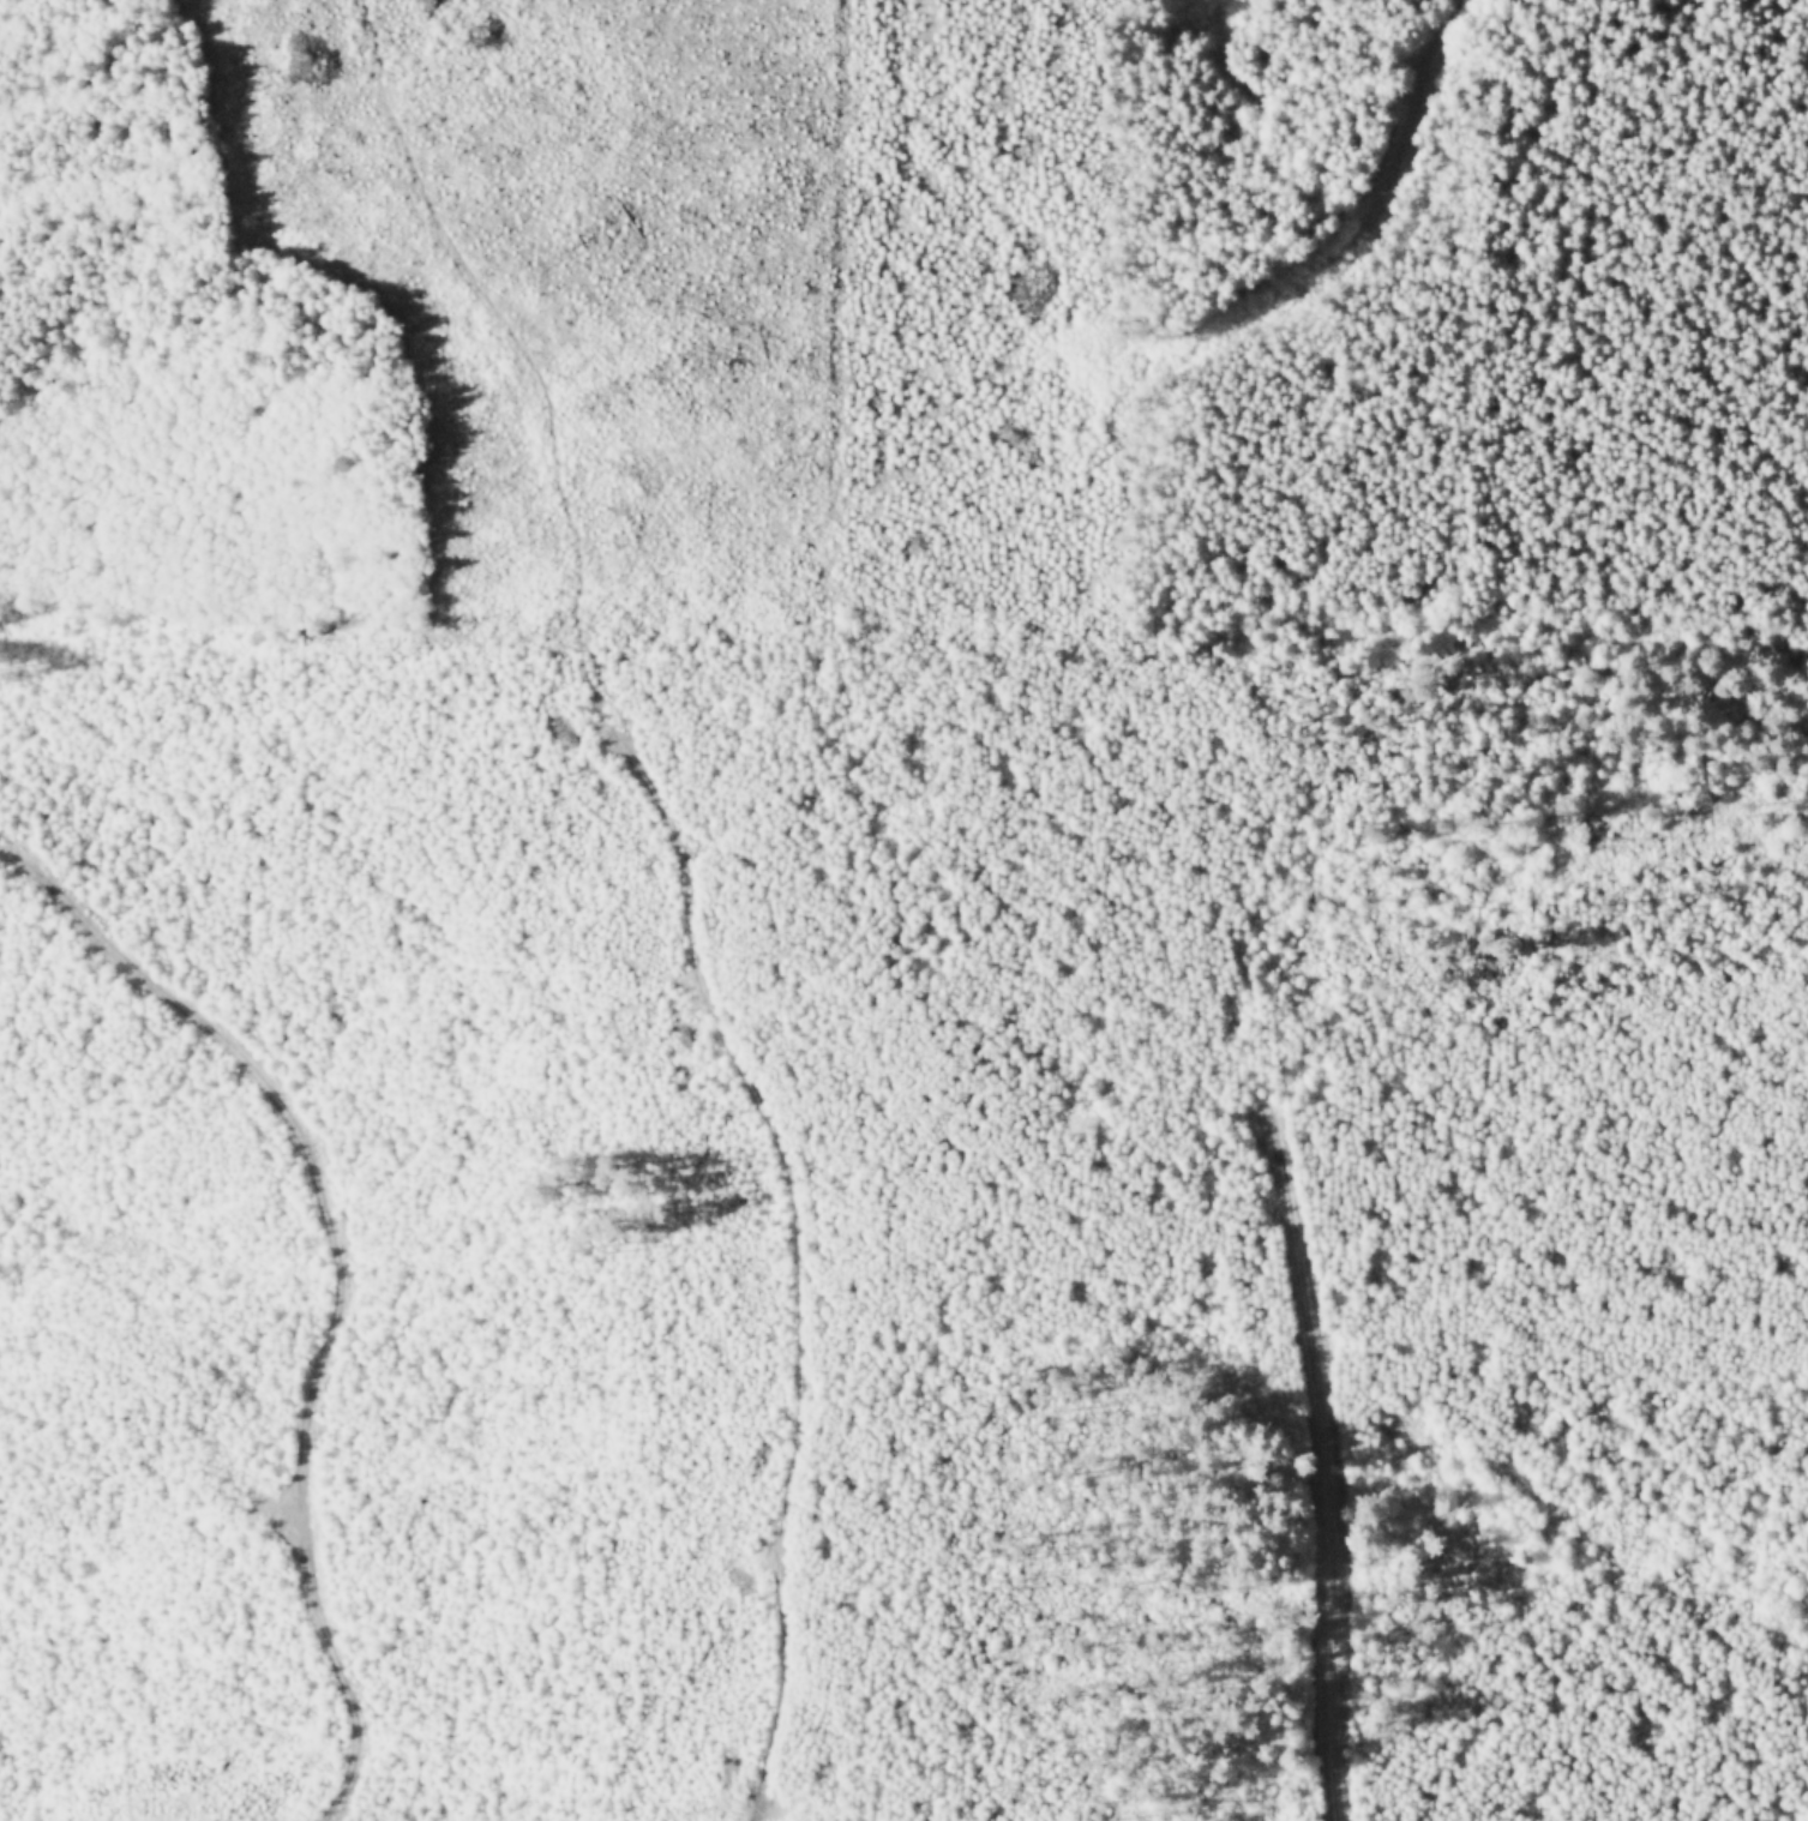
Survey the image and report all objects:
road: (1438, 2)
road: (445, 202)
road: (1325, 1461)

